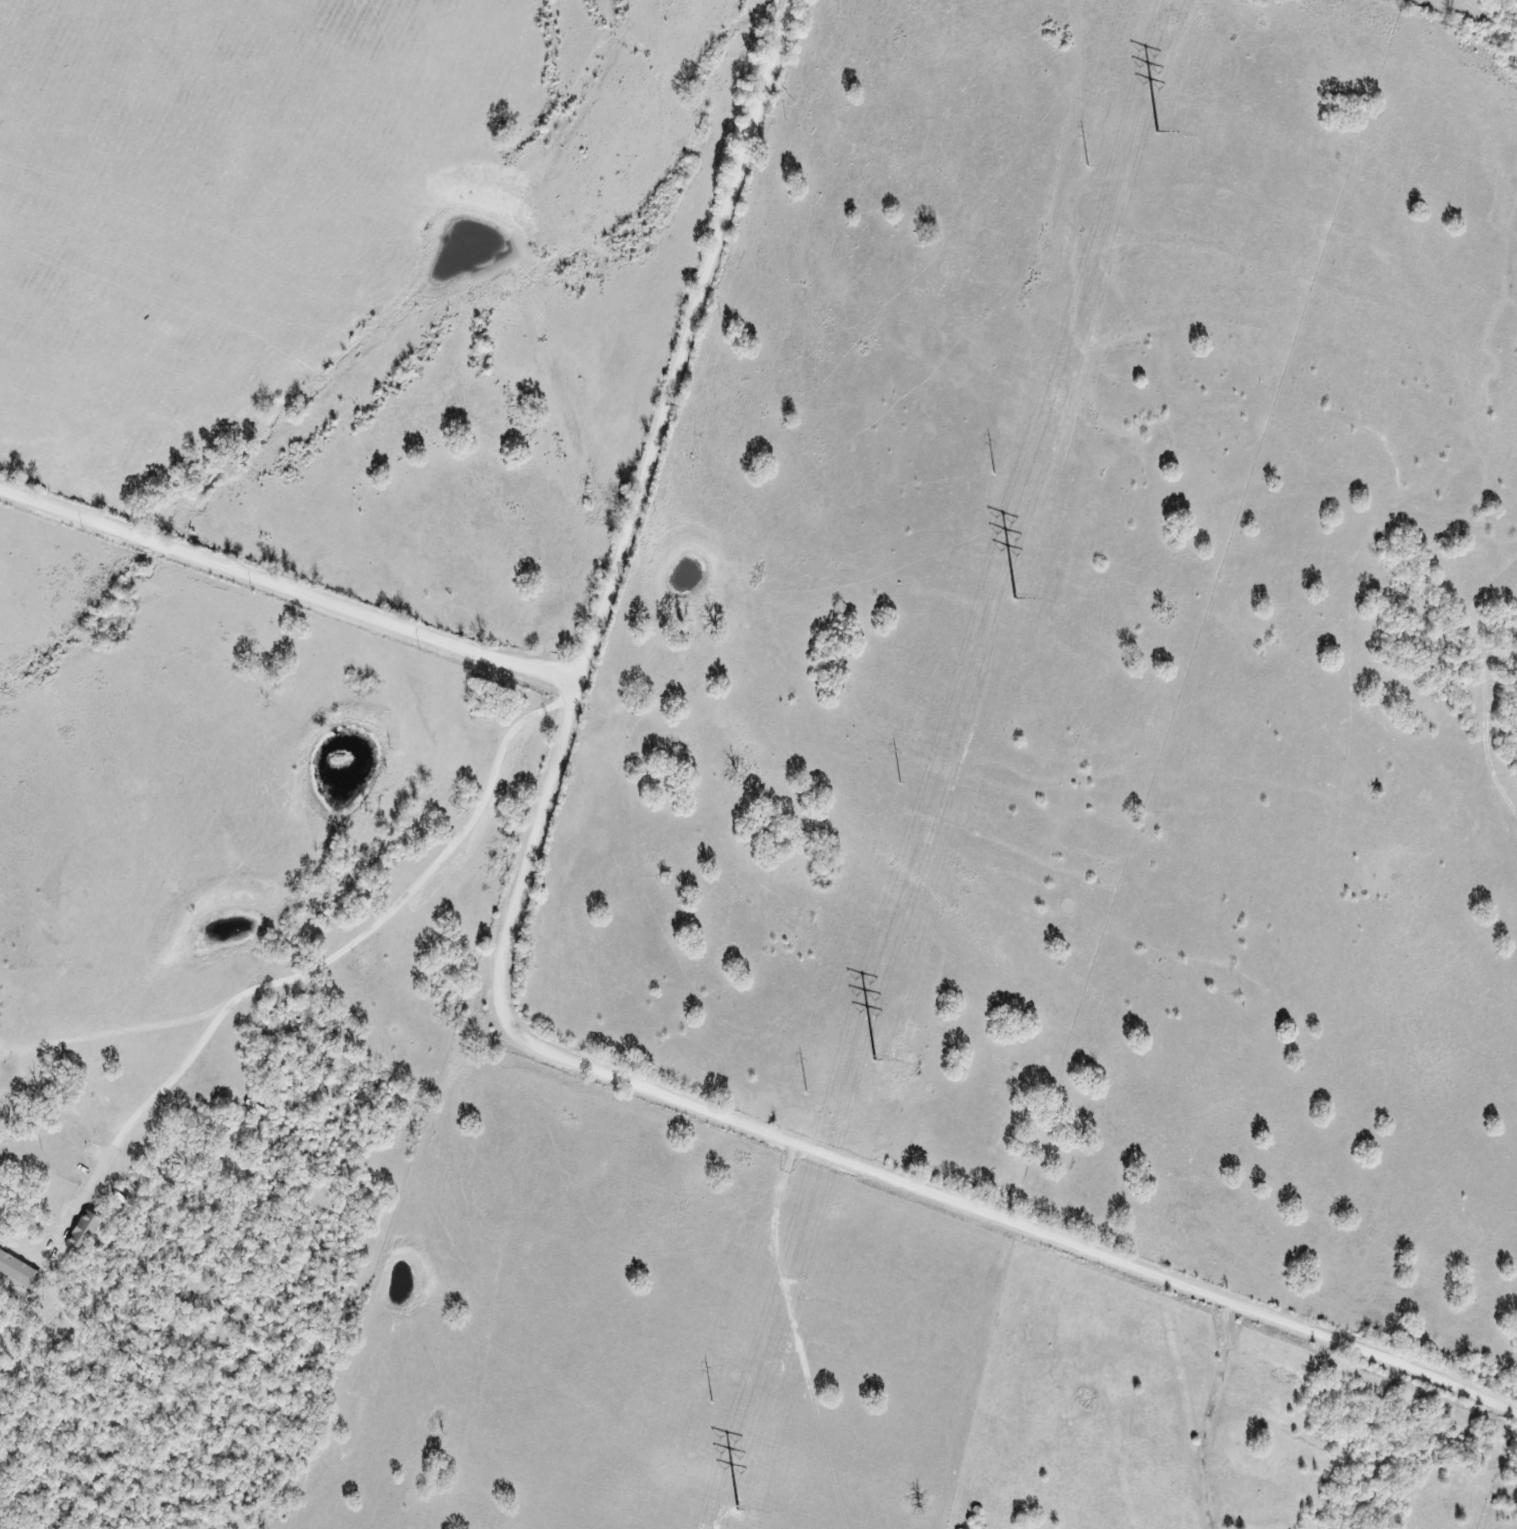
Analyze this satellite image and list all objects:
power tower: (1087, 166)
power tower: (993, 474)
road: (284, 589)
power tower: (898, 783)
road: (510, 1030)
power tower: (806, 1093)
building: (86, 1232)
building: (19, 1270)
power tower: (710, 1402)

